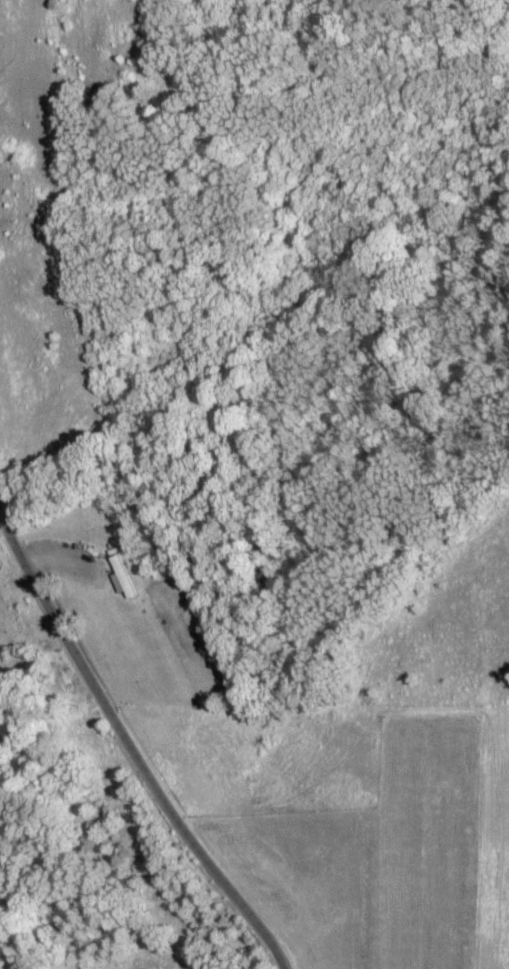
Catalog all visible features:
building: (122, 578)
road: (131, 746)

